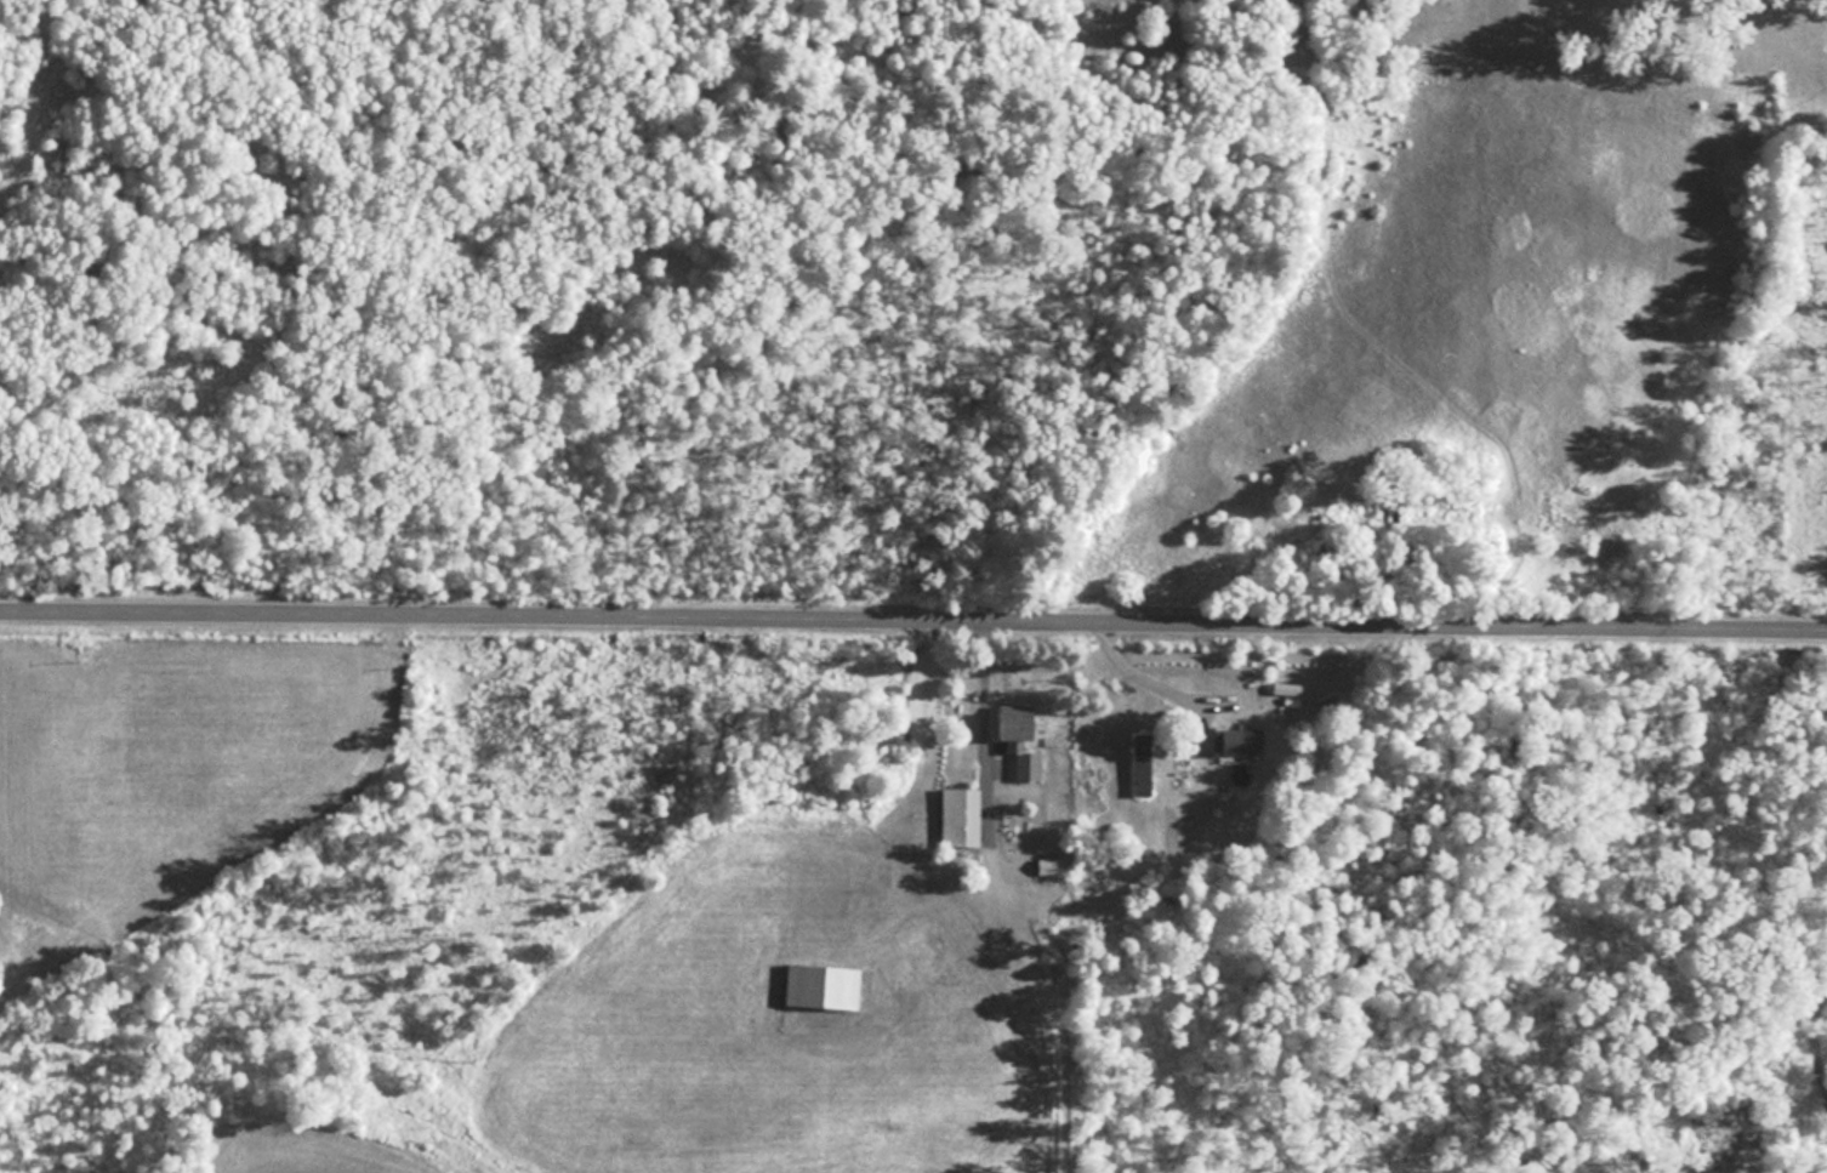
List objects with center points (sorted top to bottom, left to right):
road: (913, 630)
building: (1018, 729)
road: (983, 745)
building: (1143, 765)
building: (960, 816)
building: (824, 986)

